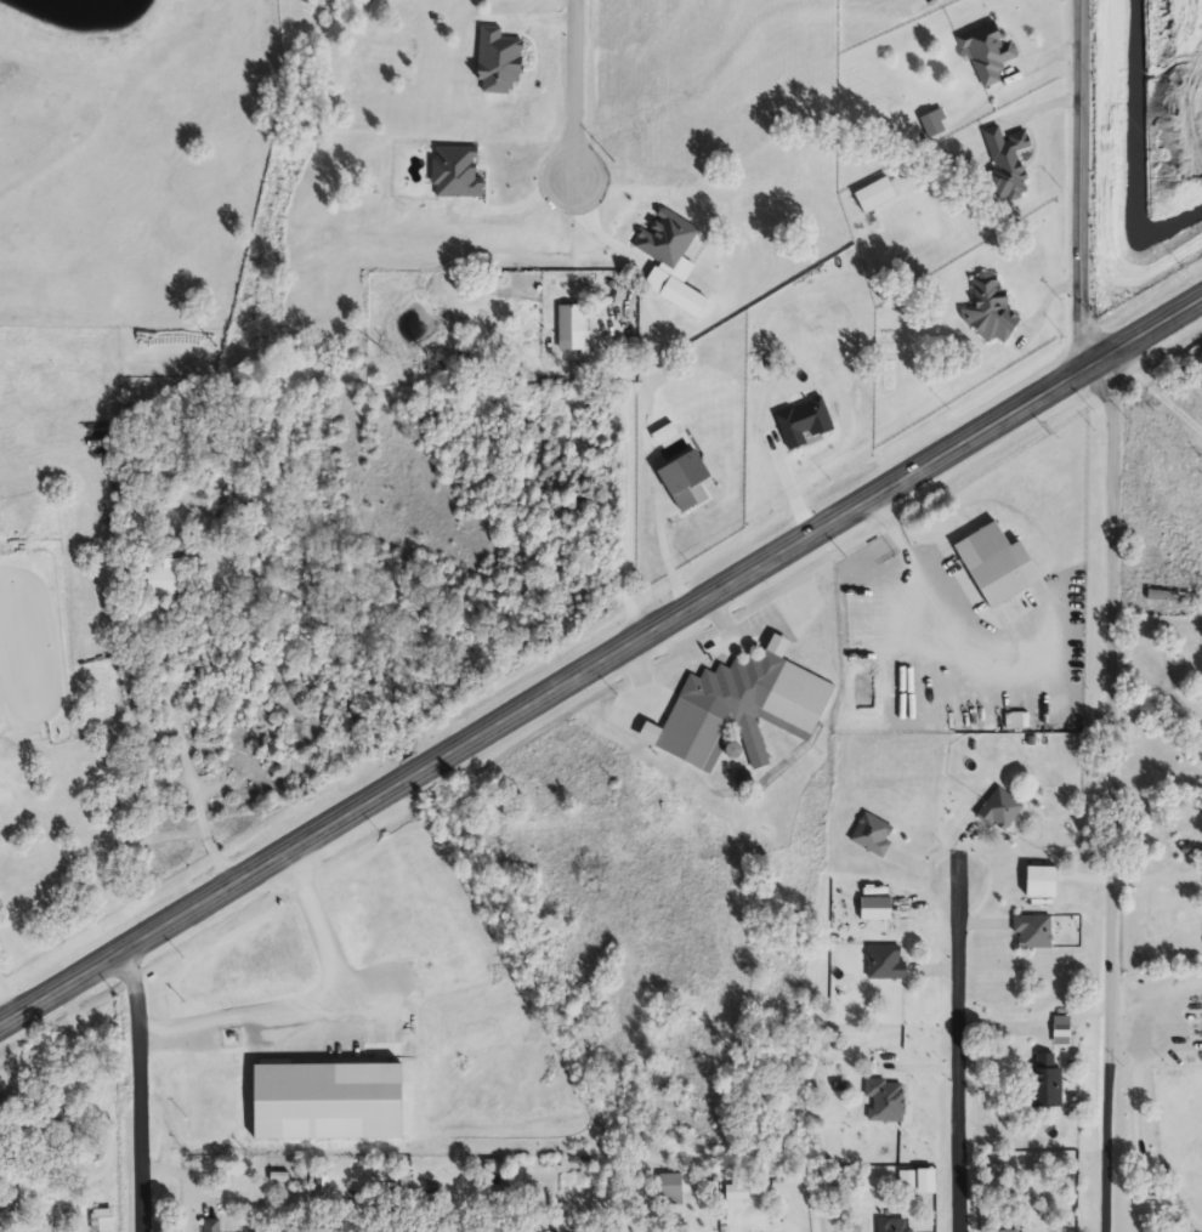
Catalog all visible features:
building: (987, 53)
road: (571, 83)
building: (934, 124)
power tower: (616, 161)
building: (1005, 164)
road: (1090, 186)
building: (987, 311)
building: (572, 329)
power tower: (212, 344)
road: (1161, 388)
road: (630, 516)
road: (918, 573)
building: (164, 581)
building: (1173, 598)
road: (601, 664)
building: (741, 708)
road: (1111, 793)
building: (999, 811)
building: (872, 835)
road: (1157, 879)
building: (875, 912)
building: (1032, 933)
building: (885, 964)
road: (311, 1009)
road: (5, 1014)
road: (956, 1057)
building: (1044, 1081)
road: (136, 1090)
building: (885, 1102)
road: (1133, 1128)
building: (491, 1165)
building: (670, 1191)
building: (102, 1221)
building: (211, 1226)
building: (891, 1226)

